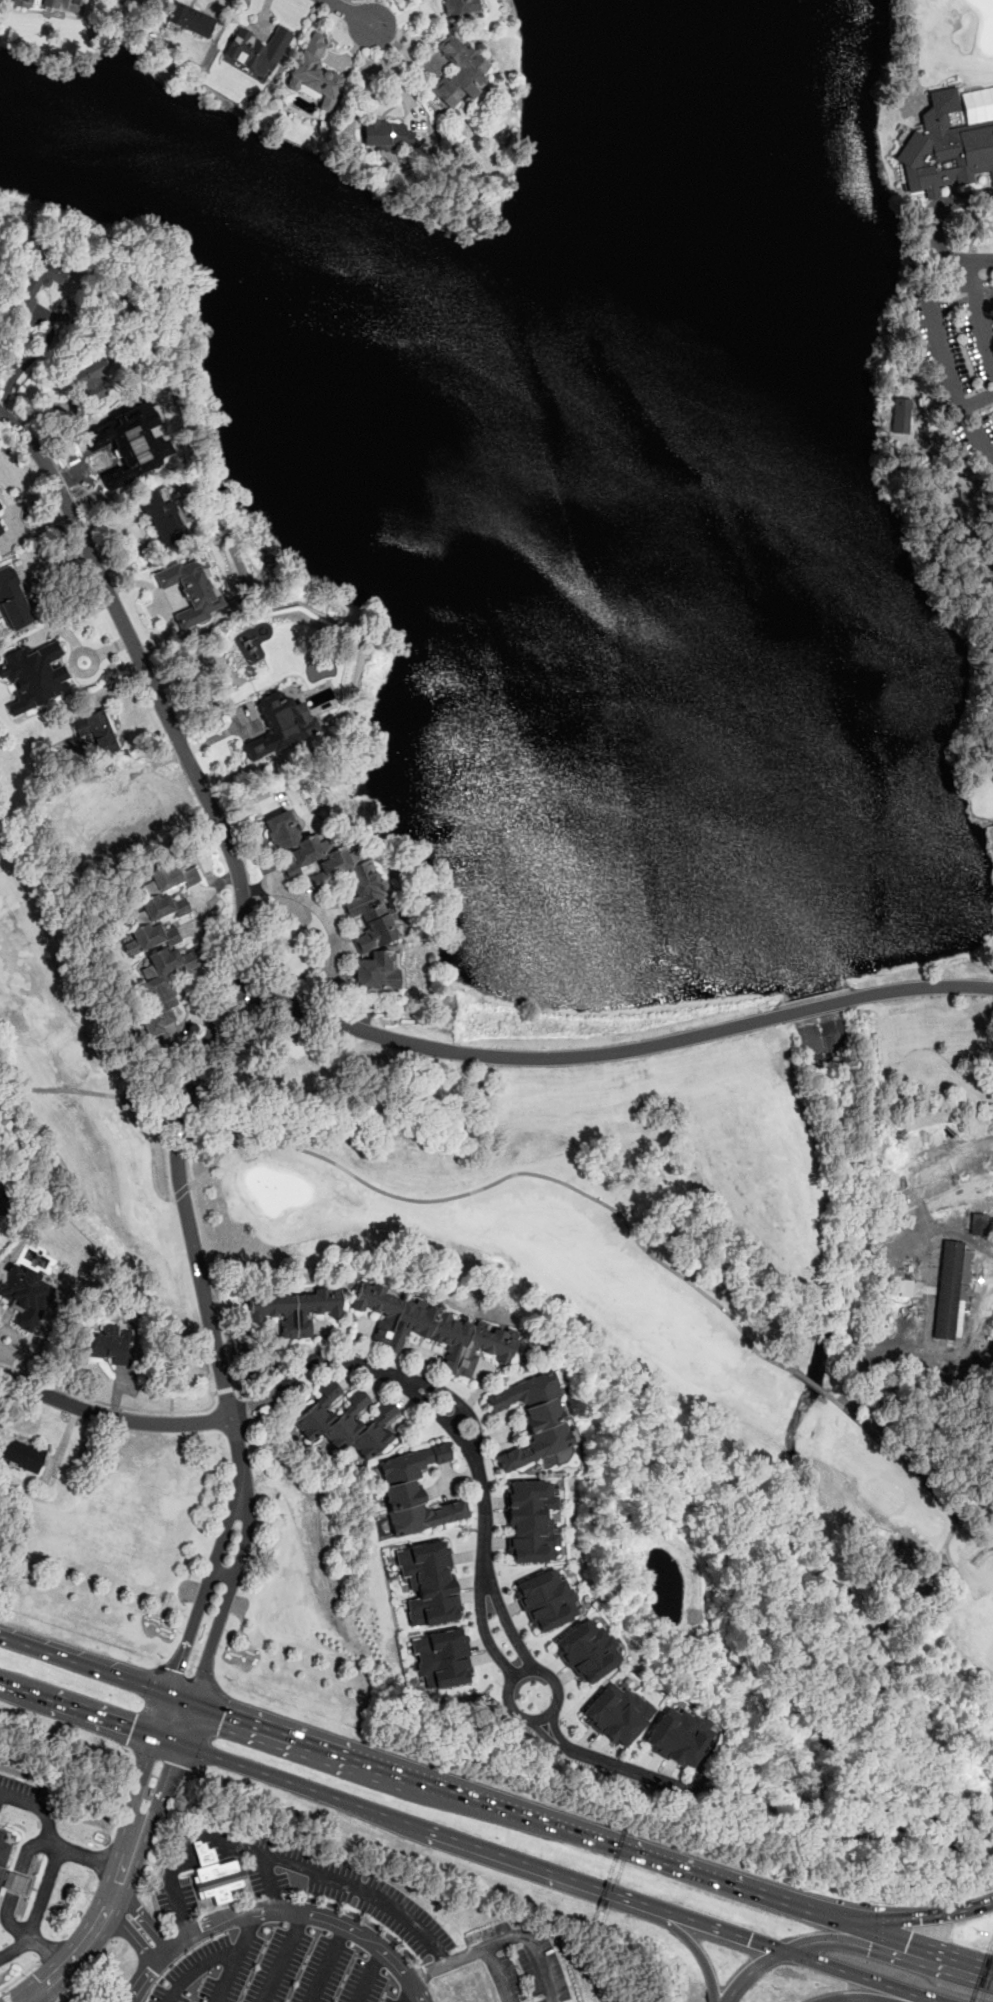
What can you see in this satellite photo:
building: (53, 3)
building: (461, 6)
road: (355, 15)
building: (191, 19)
building: (256, 49)
building: (314, 70)
building: (459, 72)
building: (388, 134)
building: (944, 148)
road: (931, 229)
road: (970, 272)
building: (37, 280)
road: (931, 315)
road: (42, 320)
building: (89, 379)
road: (4, 387)
road: (977, 403)
building: (900, 417)
building: (164, 518)
building: (1, 529)
building: (191, 589)
building: (13, 600)
building: (34, 676)
park: (633, 708)
building: (280, 724)
building: (95, 731)
building: (290, 870)
building: (165, 891)
building: (368, 899)
road: (329, 920)
road: (242, 925)
road: (610, 1052)
road: (115, 1097)
road: (511, 1174)
road: (181, 1190)
road: (192, 1191)
building: (1, 1199)
building: (1, 1212)
building: (978, 1224)
building: (952, 1291)
building: (23, 1297)
building: (294, 1309)
building: (433, 1330)
building: (109, 1344)
road: (811, 1382)
road: (226, 1389)
road: (110, 1405)
road: (112, 1418)
building: (533, 1419)
building: (345, 1423)
building: (20, 1454)
building: (416, 1492)
road: (973, 1509)
road: (950, 1514)
road: (485, 1519)
building: (530, 1522)
road: (223, 1574)
building: (429, 1582)
road: (204, 1588)
building: (545, 1600)
road: (222, 1615)
building: (587, 1650)
building: (445, 1658)
road: (96, 1669)
traffic signals: (176, 1672)
traffic signals: (224, 1713)
building: (616, 1714)
road: (88, 1715)
traffic signals: (132, 1730)
building: (678, 1736)
traffic signals: (172, 1763)
road: (146, 1764)
road: (380, 1766)
road: (299, 1786)
road: (161, 1793)
road: (40, 1807)
road: (206, 1840)
road: (606, 1841)
building: (3, 1850)
road: (544, 1869)
road: (16, 1870)
building: (215, 1875)
building: (16, 1882)
road: (746, 1886)
road: (48, 1892)
road: (384, 1897)
road: (275, 1913)
road: (144, 1915)
road: (921, 1915)
traffic signals: (915, 1916)
road: (93, 1928)
road: (726, 1931)
road: (129, 1935)
road: (517, 1938)
traffic signals: (749, 1939)
traffic signals: (908, 1940)
road: (911, 1941)
road: (16, 1948)
traffic signals: (870, 1948)
road: (880, 1949)
road: (698, 1953)
road: (284, 1958)
road: (218, 1962)
road: (327, 1964)
road: (984, 1964)
road: (88, 1971)
road: (751, 1971)
road: (852, 1974)
road: (371, 1975)
road: (496, 1975)
road: (20, 1976)
road: (227, 1979)
building: (467, 1988)
road: (407, 1992)
road: (5, 1996)
road: (872, 1997)
road: (33, 1999)
road: (919, 2001)

